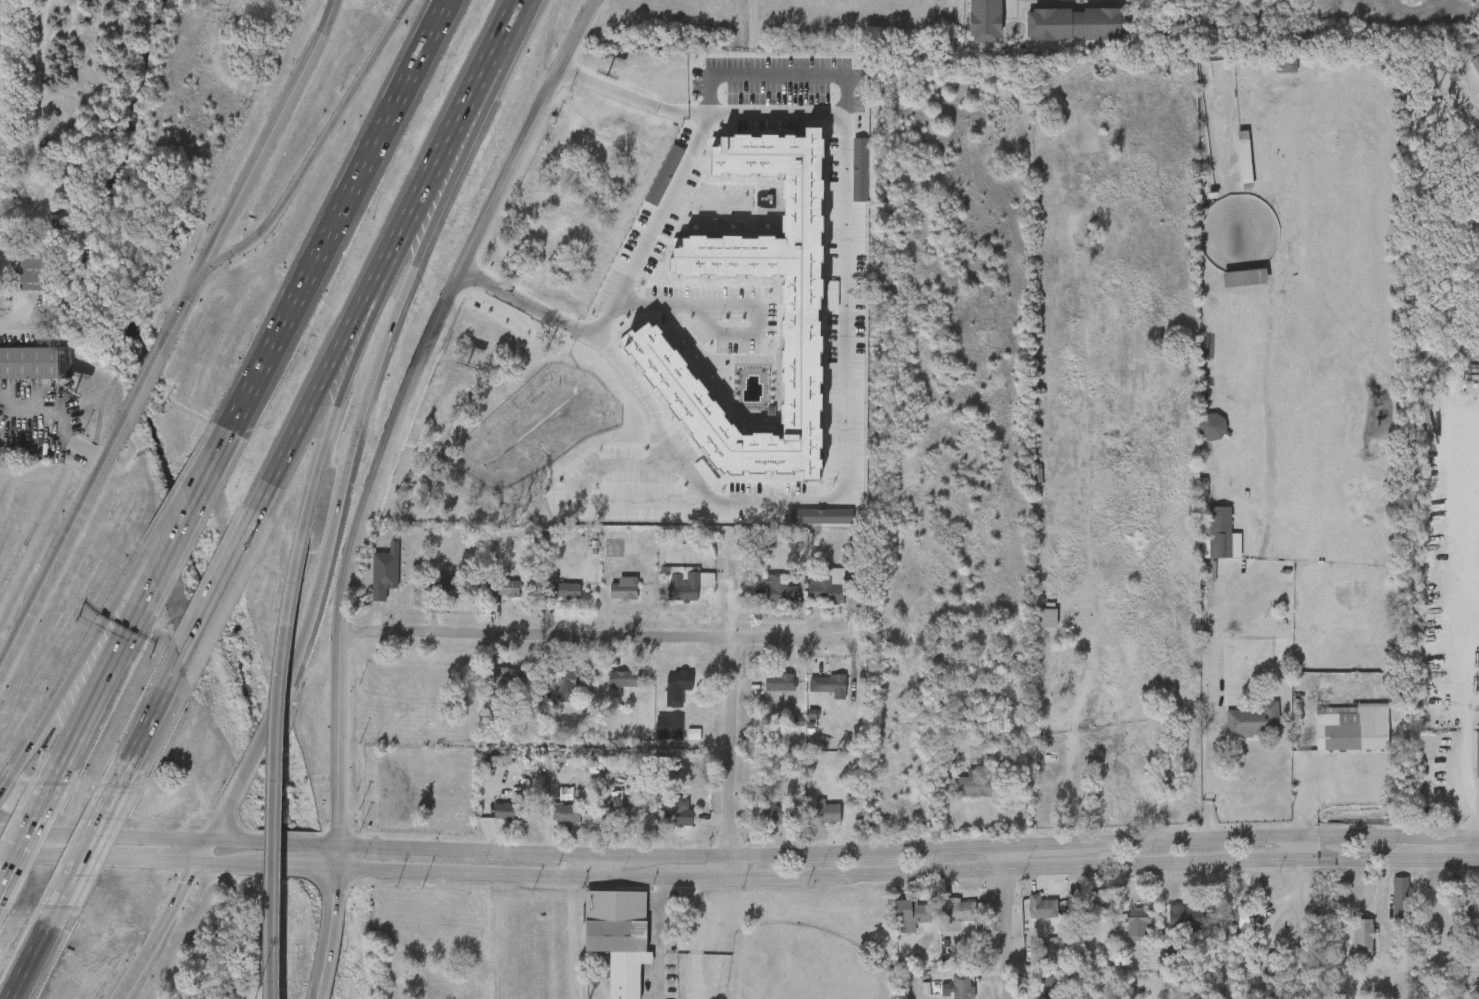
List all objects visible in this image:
building: (1036, 4)
building: (1085, 4)
road: (531, 5)
road: (742, 20)
building: (986, 20)
building: (1073, 22)
building: (1271, 75)
road: (498, 78)
building: (1471, 81)
road: (777, 82)
road: (619, 98)
road: (470, 118)
building: (68, 122)
road: (267, 132)
road: (317, 145)
building: (1230, 170)
road: (335, 215)
road: (651, 233)
building: (37, 262)
building: (18, 282)
building: (1230, 288)
road: (513, 305)
road: (379, 306)
road: (181, 308)
road: (730, 314)
road: (14, 323)
road: (415, 352)
building: (29, 363)
road: (143, 384)
road: (325, 386)
road: (844, 419)
road: (357, 427)
building: (1197, 437)
road: (219, 442)
road: (320, 461)
building: (497, 464)
building: (462, 473)
road: (178, 504)
road: (580, 508)
road: (176, 518)
road: (62, 535)
building: (1205, 546)
building: (682, 584)
building: (826, 586)
building: (781, 587)
building: (508, 588)
building: (624, 588)
building: (566, 589)
building: (668, 593)
building: (425, 596)
building: (812, 596)
building: (494, 599)
building: (610, 599)
building: (764, 600)
building: (551, 601)
road: (214, 603)
road: (1465, 622)
road: (577, 637)
building: (1282, 648)
building: (1265, 659)
road: (78, 664)
building: (508, 676)
building: (623, 679)
road: (94, 680)
building: (561, 682)
building: (780, 682)
building: (828, 683)
building: (677, 685)
building: (493, 687)
building: (609, 689)
building: (764, 693)
building: (816, 694)
building: (550, 695)
building: (663, 698)
building: (1253, 721)
road: (151, 723)
building: (669, 725)
road: (1196, 725)
road: (724, 726)
building: (1351, 728)
building: (655, 737)
building: (1476, 755)
road: (249, 764)
road: (280, 768)
road: (1319, 782)
building: (975, 786)
road: (330, 789)
road: (6, 790)
building: (959, 797)
building: (509, 810)
building: (775, 811)
building: (824, 811)
building: (568, 812)
building: (621, 814)
building: (676, 814)
building: (605, 820)
building: (494, 822)
building: (812, 822)
road: (23, 823)
building: (663, 823)
building: (551, 824)
road: (215, 825)
building: (759, 826)
road: (122, 836)
road: (276, 843)
road: (88, 847)
road: (201, 850)
road: (1293, 850)
road: (893, 854)
road: (39, 856)
road: (136, 861)
road: (218, 864)
road: (590, 866)
road: (253, 867)
road: (288, 869)
road: (330, 870)
road: (320, 872)
road: (904, 876)
building: (1399, 899)
building: (1041, 905)
building: (1385, 909)
building: (959, 910)
building: (1079, 910)
building: (912, 911)
building: (1021, 916)
building: (1246, 917)
building: (1186, 918)
building: (895, 923)
building: (943, 924)
road: (1001, 924)
building: (1136, 928)
building: (1170, 928)
building: (1231, 930)
building: (1477, 930)
road: (157, 931)
building: (1122, 933)
building: (618, 936)
road: (679, 939)
building: (1362, 940)
road: (318, 946)
building: (1055, 946)
building: (1347, 948)
road: (35, 953)
building: (1040, 956)
building: (1272, 966)
building: (1155, 970)
building: (1257, 975)
building: (1049, 985)
building: (961, 986)
building: (1035, 990)
building: (947, 992)

